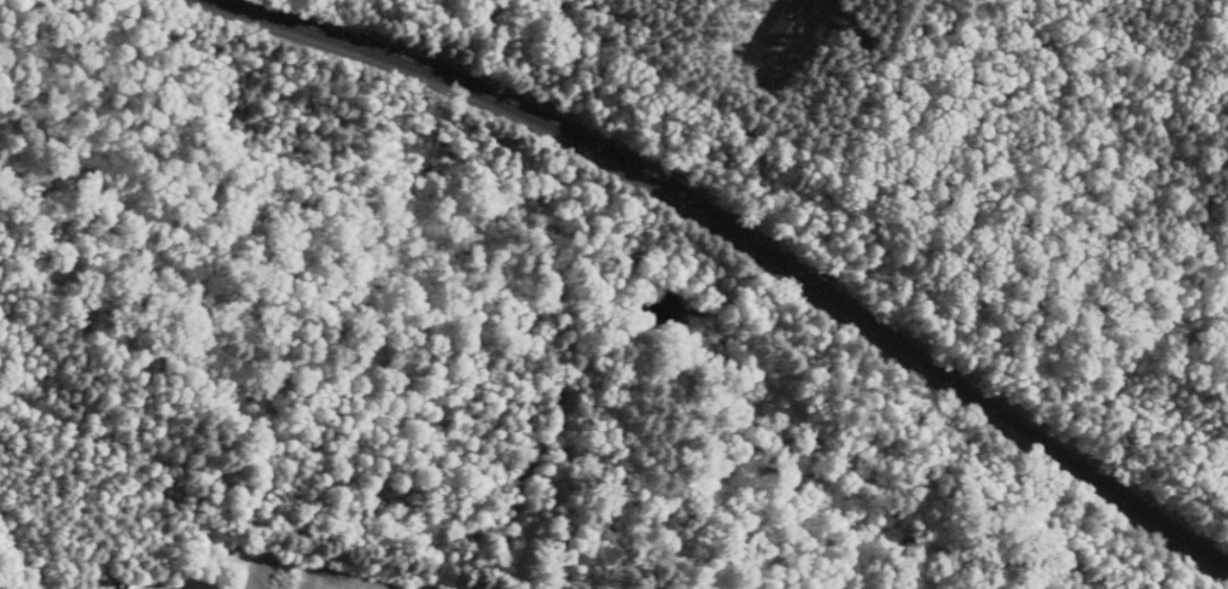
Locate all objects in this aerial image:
railway: (741, 238)

